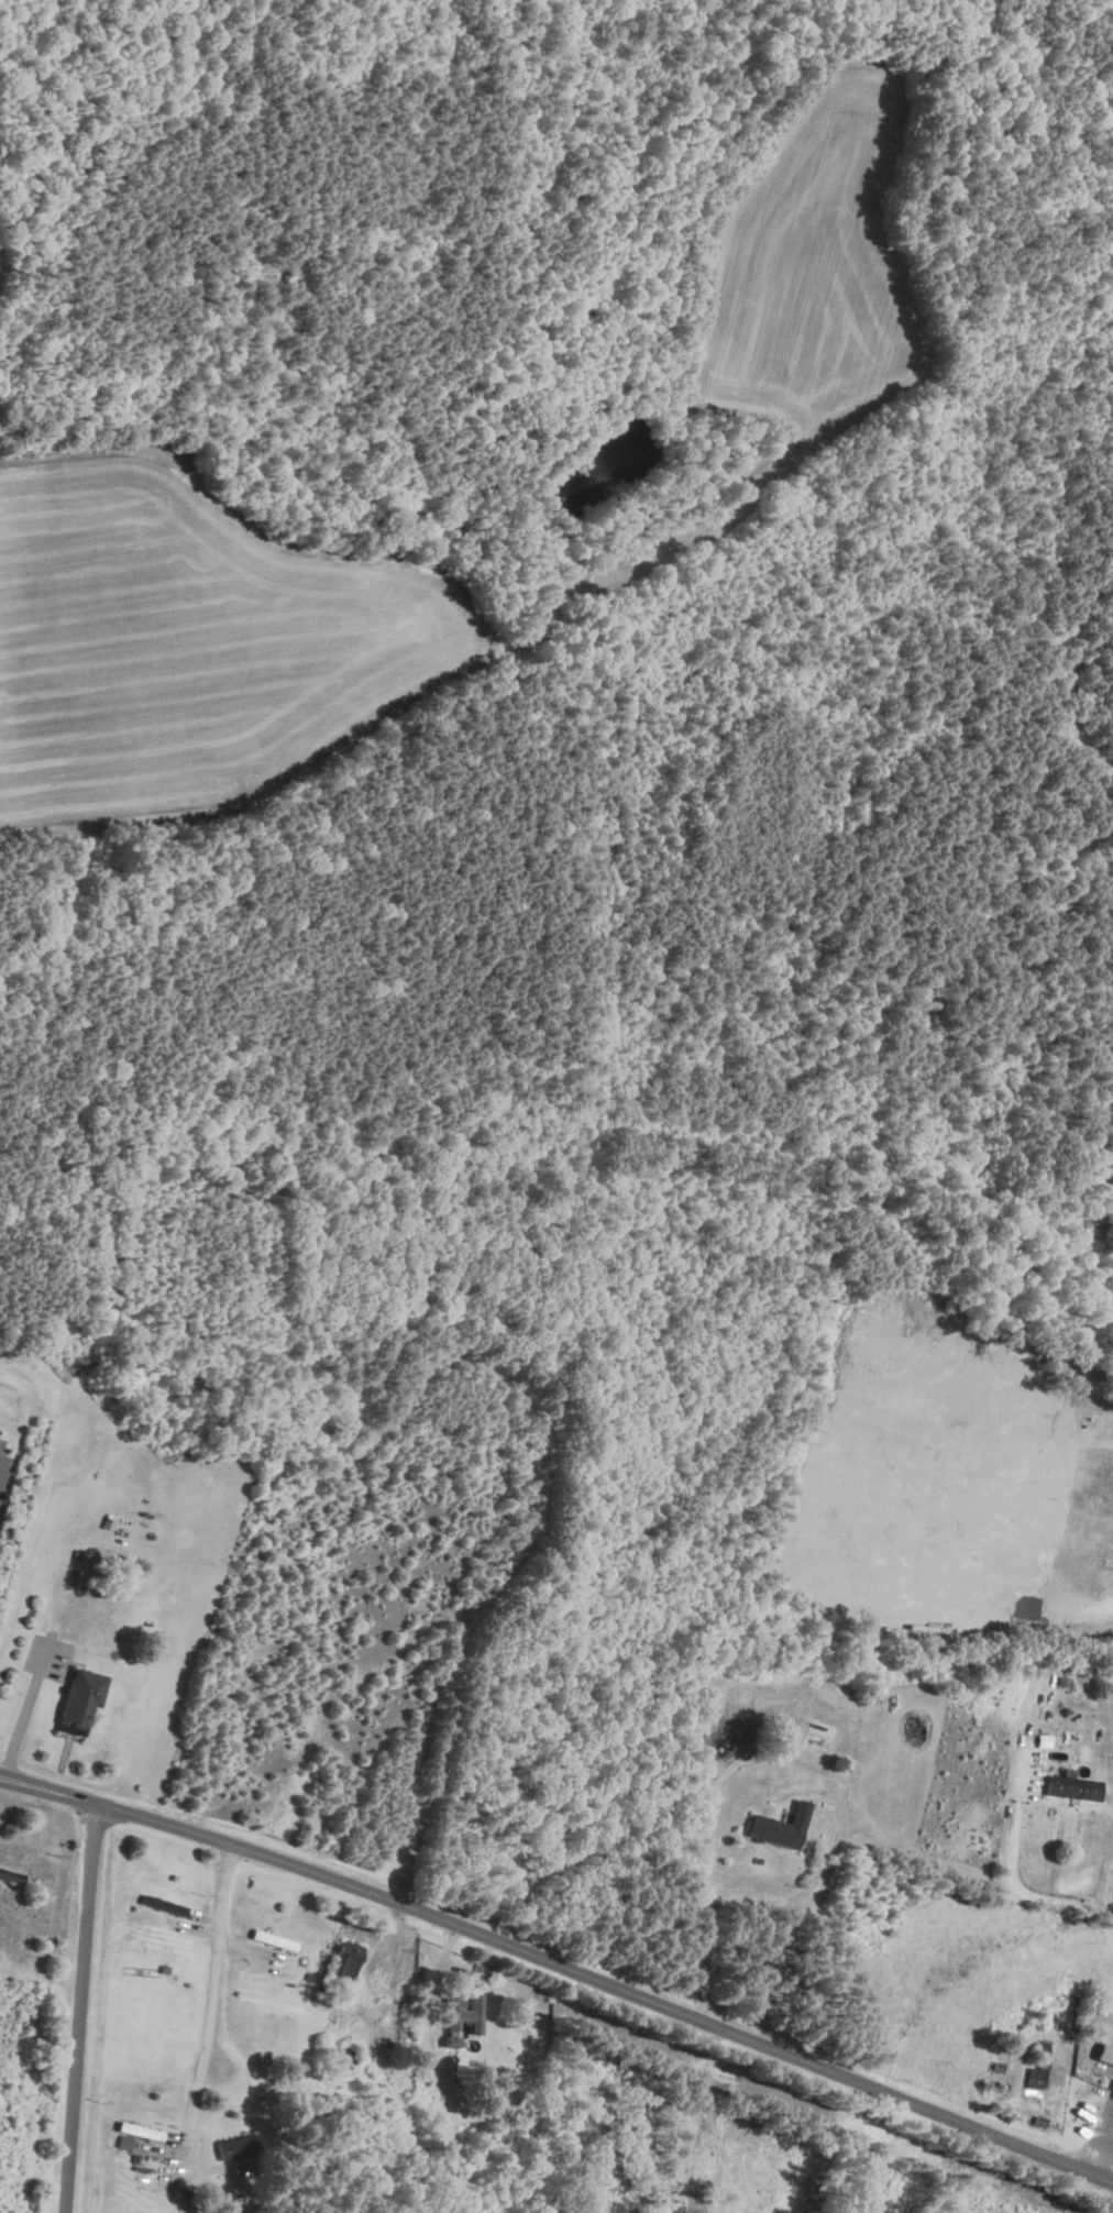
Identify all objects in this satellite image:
building: (81, 1698)
road: (22, 1717)
road: (771, 1757)
building: (780, 1827)
road: (1021, 1885)
building: (163, 1905)
road: (224, 1957)
building: (346, 1959)
road: (561, 1967)
road: (89, 2008)
building: (462, 2016)
building: (340, 2056)
building: (1038, 2068)
road: (685, 2118)
building: (238, 2146)

